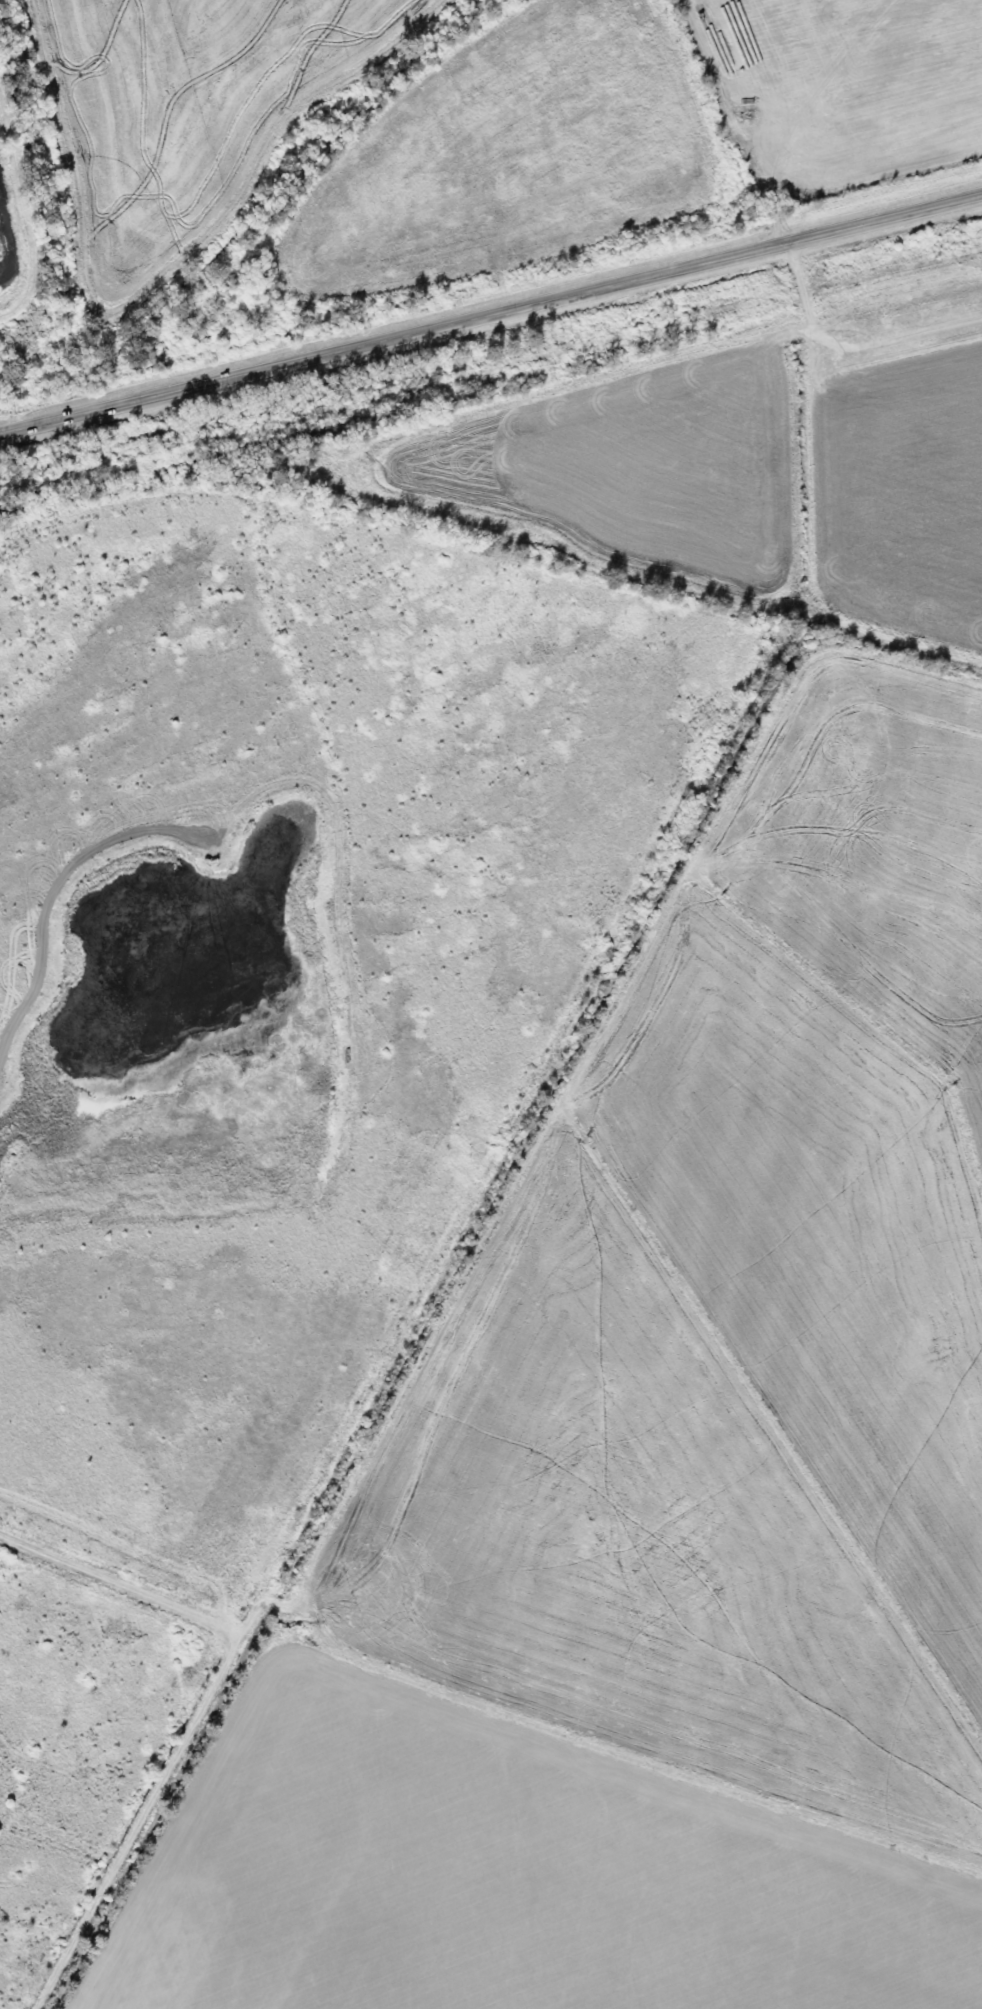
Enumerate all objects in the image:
road: (491, 315)
railway: (491, 370)
road: (506, 1129)

